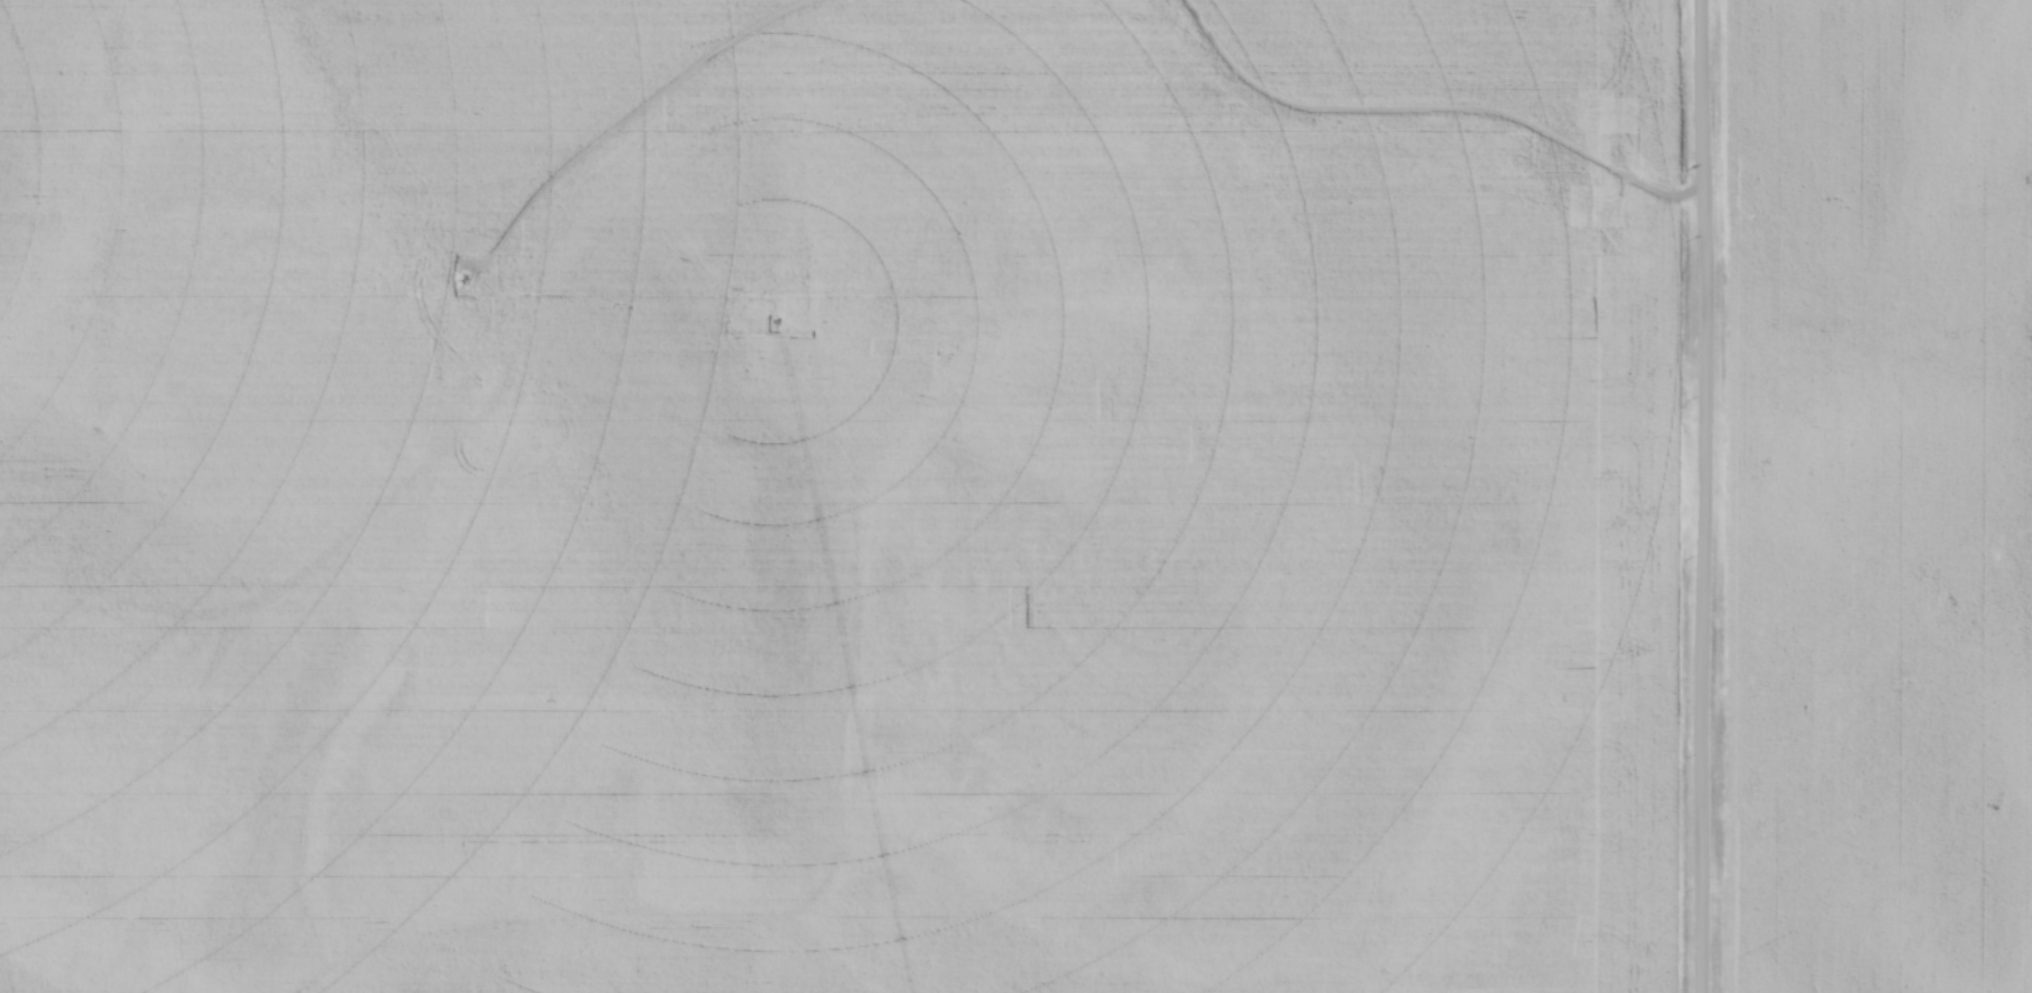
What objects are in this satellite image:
road: (1703, 496)

